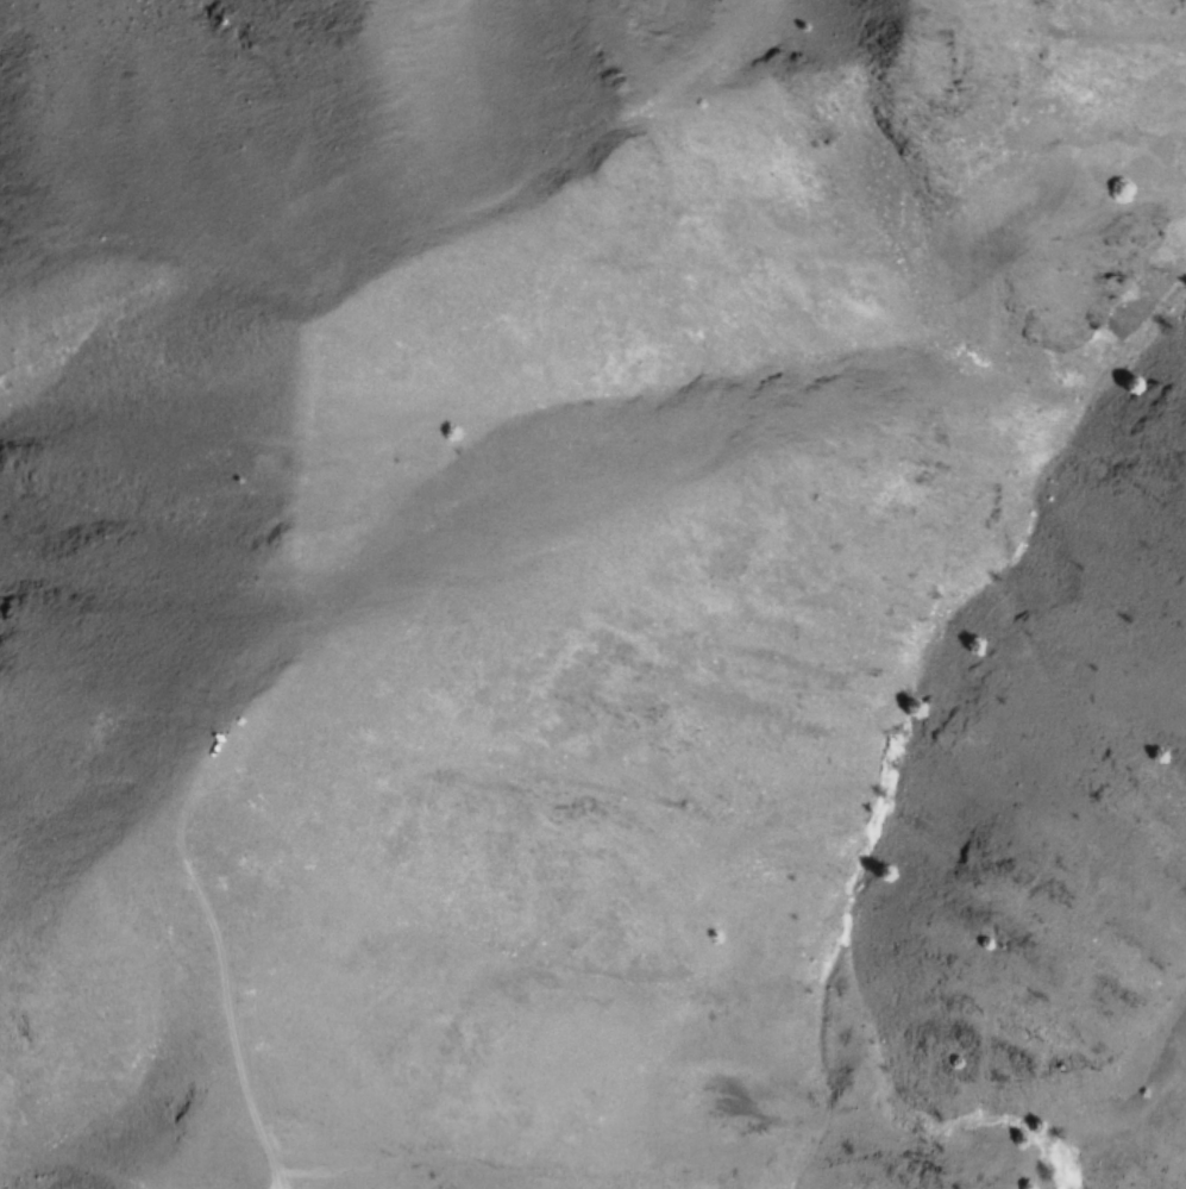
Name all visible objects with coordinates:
road: (220, 952)

